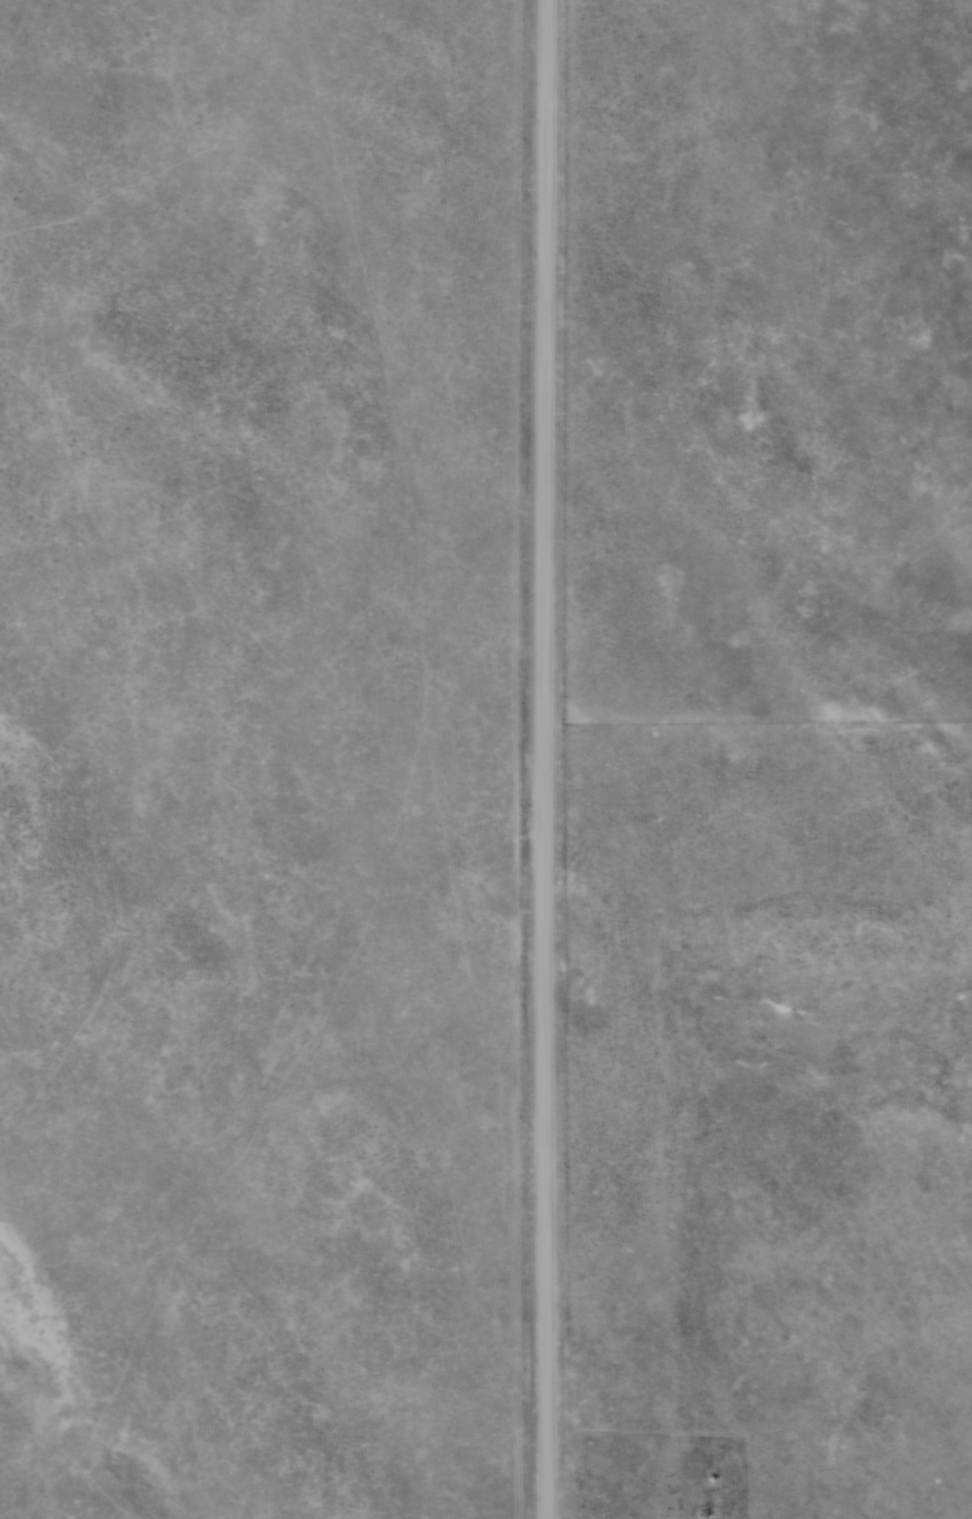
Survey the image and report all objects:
road: (543, 759)

